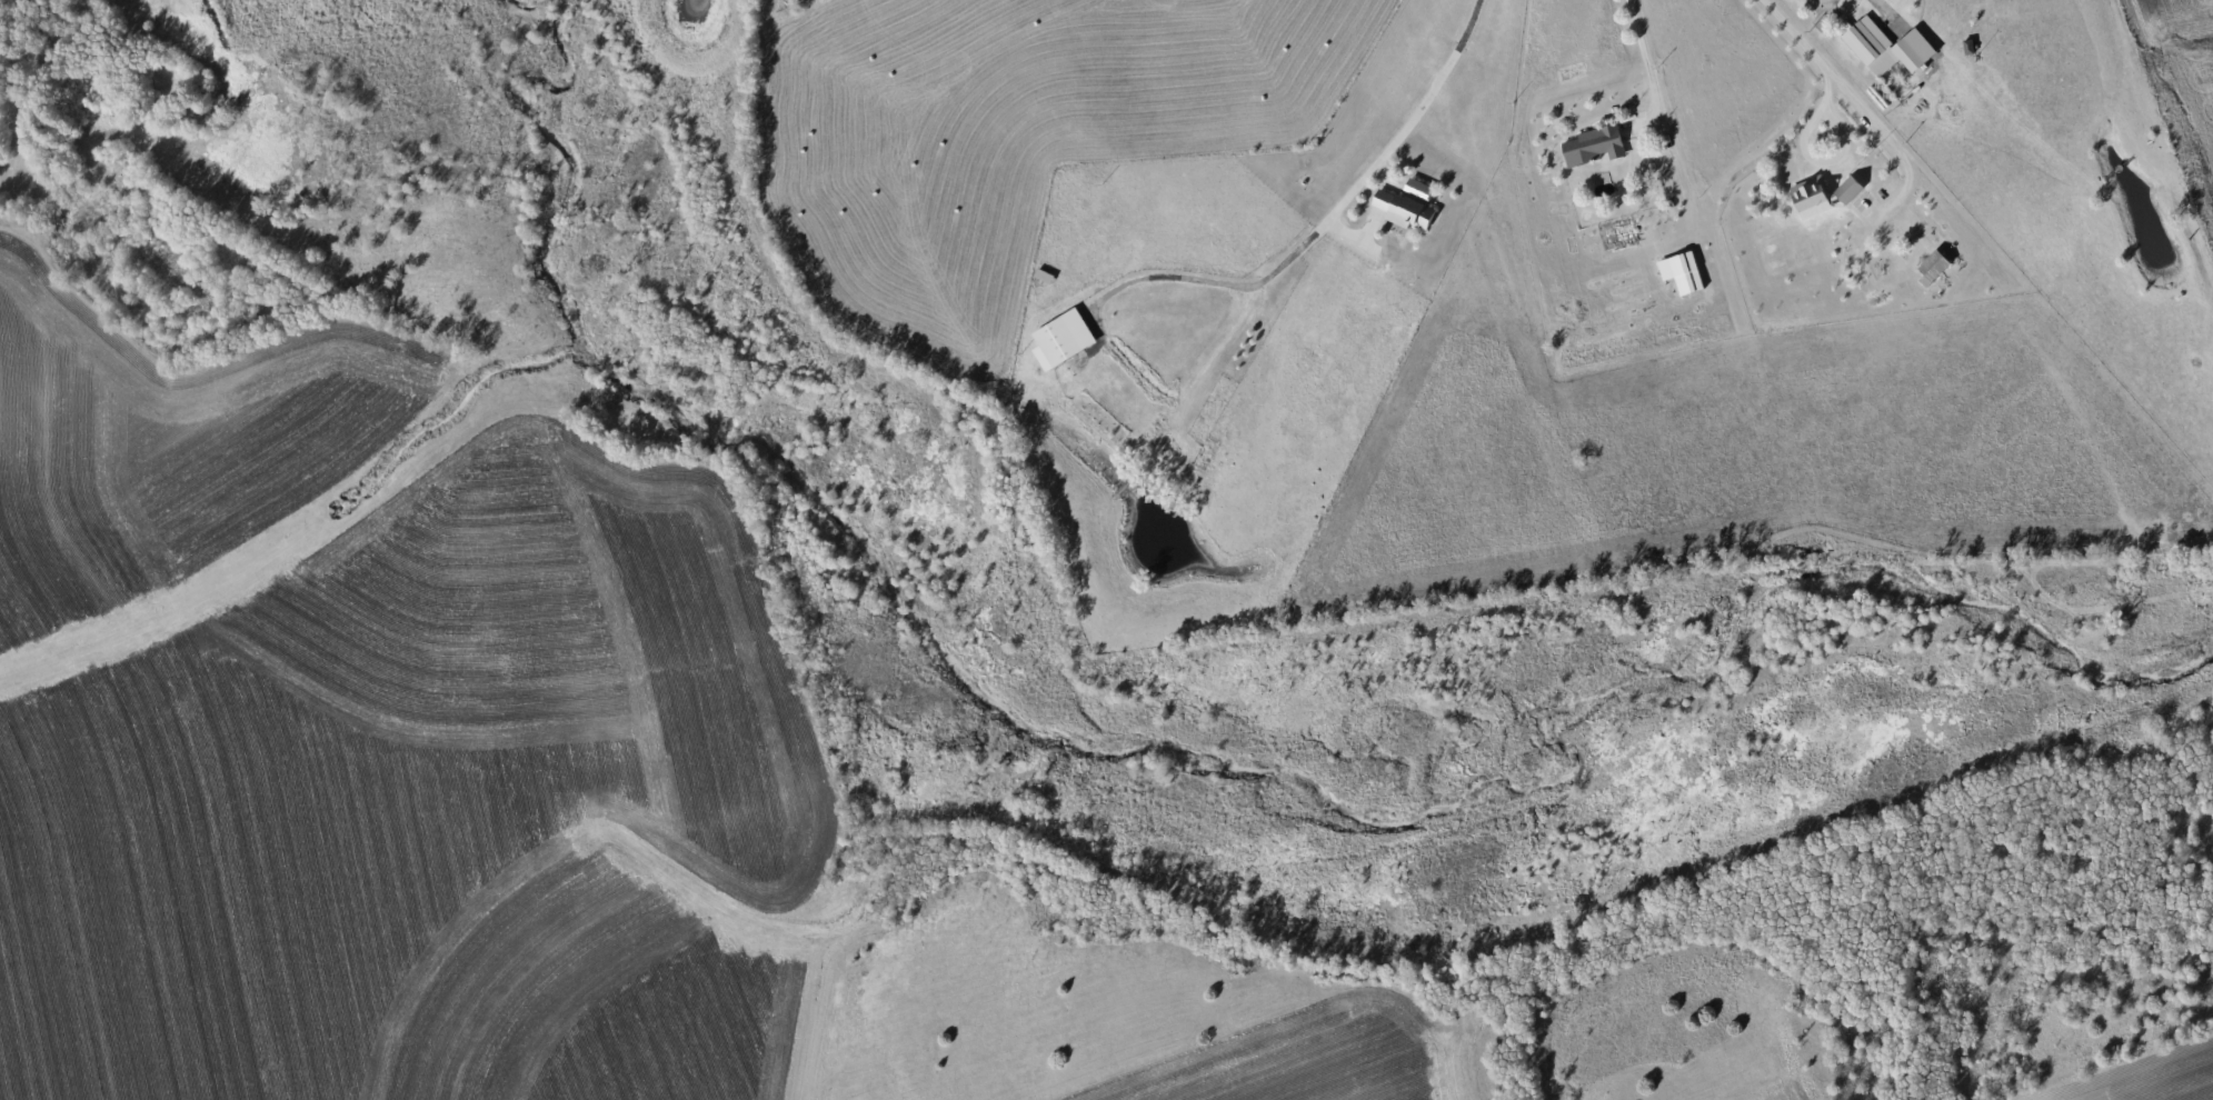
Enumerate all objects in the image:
road: (1897, 7)
building: (1887, 48)
road: (1645, 61)
road: (1850, 97)
building: (1595, 146)
building: (1418, 190)
building: (1850, 190)
building: (1812, 198)
building: (1405, 210)
road: (1329, 217)
building: (1934, 268)
building: (1683, 273)
building: (1063, 339)

